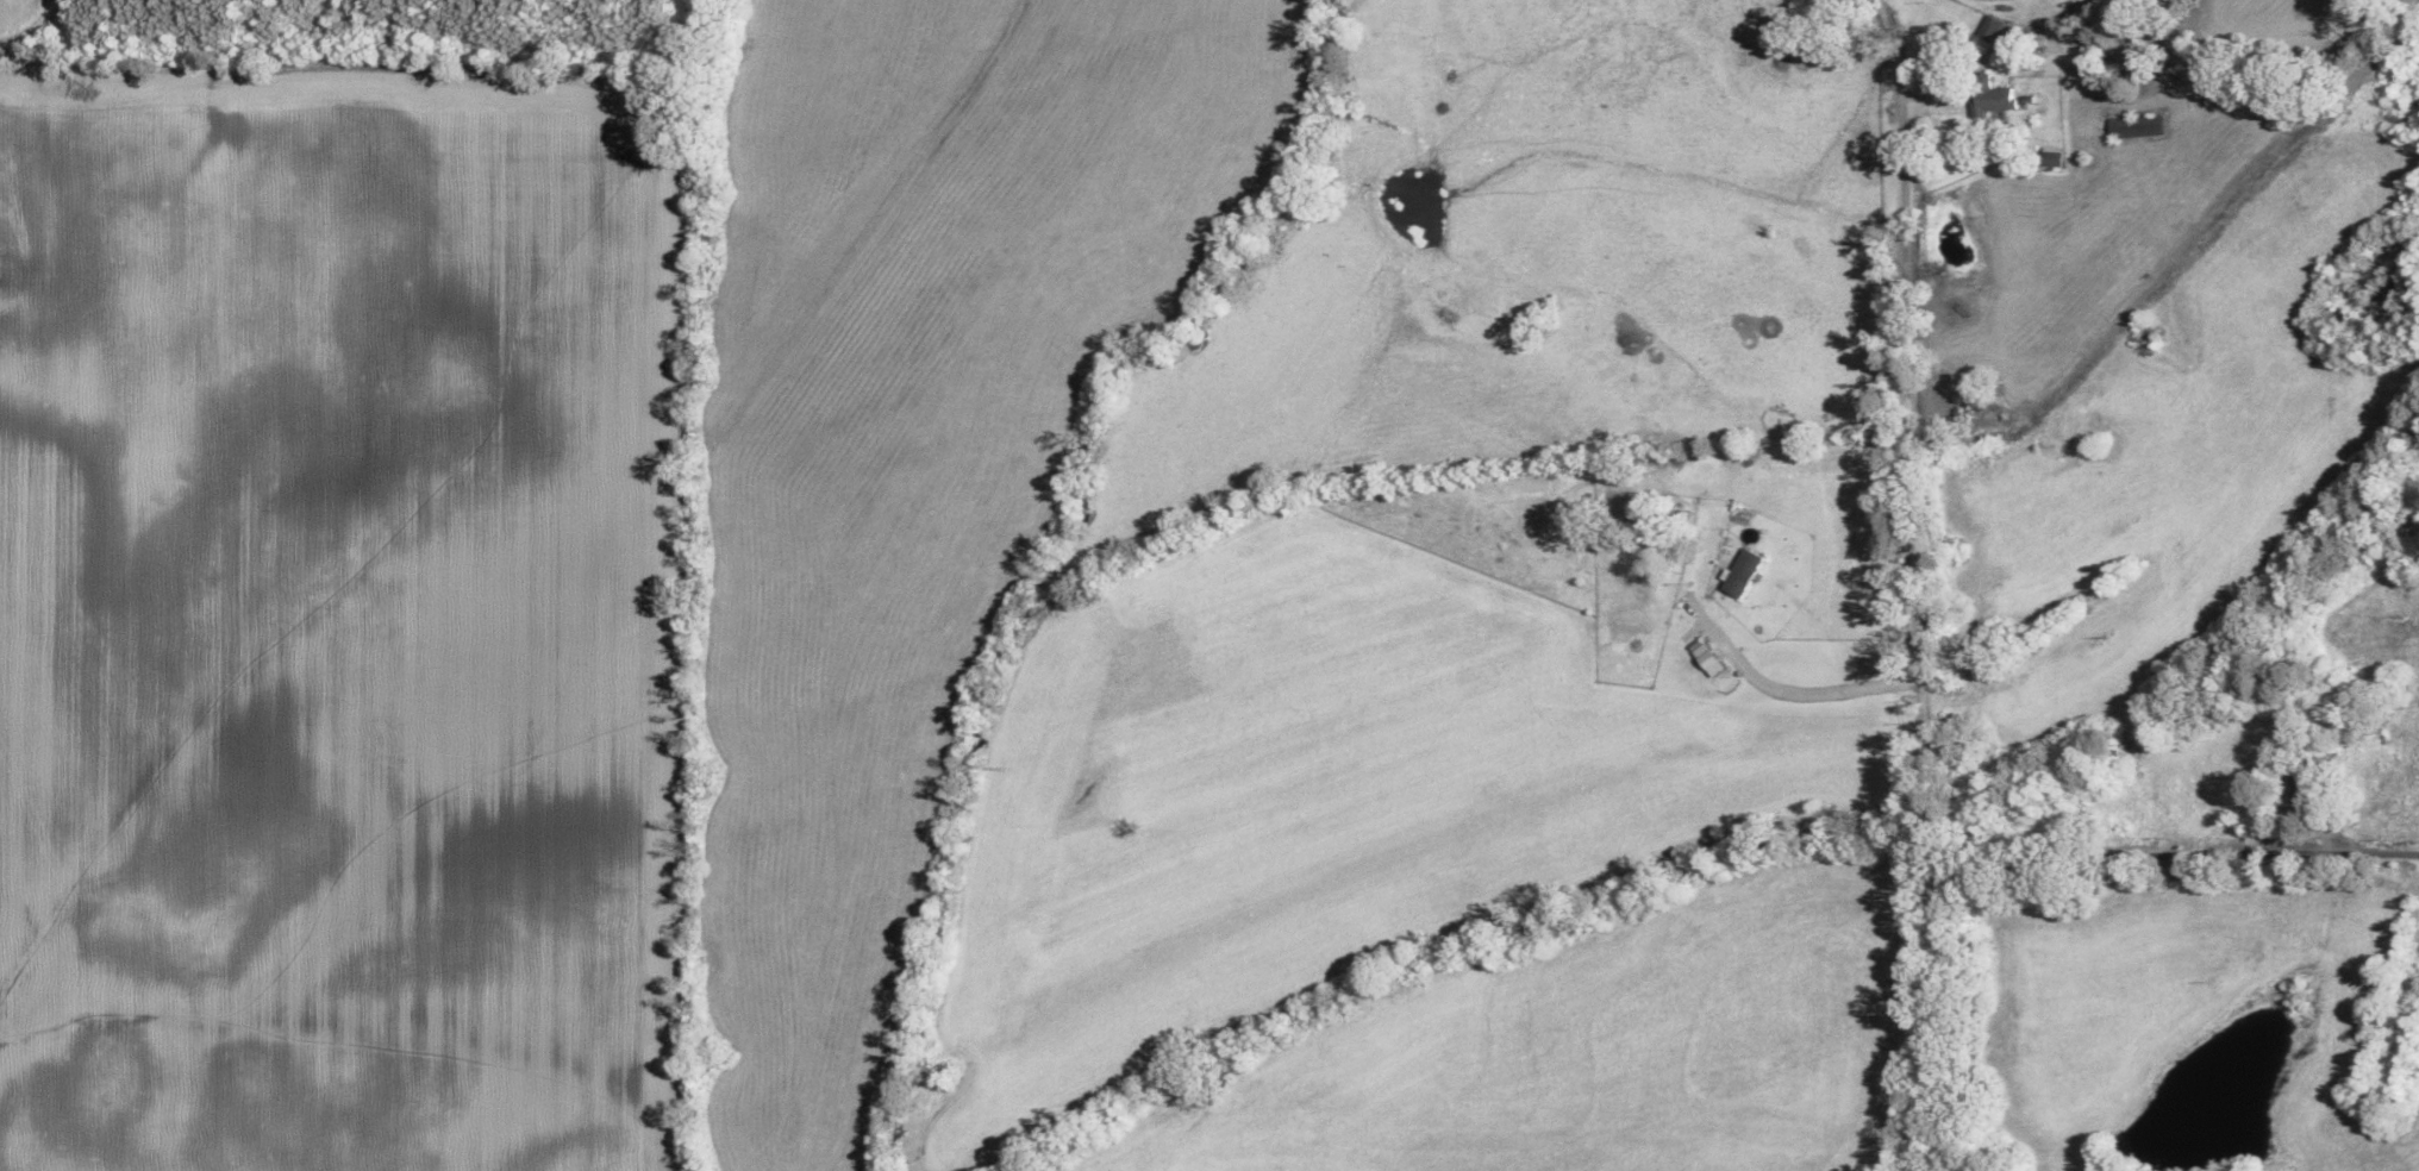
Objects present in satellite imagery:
building: (2083, 67)
building: (1986, 98)
building: (2130, 127)
road: (1939, 578)
building: (2398, 718)
road: (2190, 872)
building: (2401, 990)
building: (2380, 1084)

